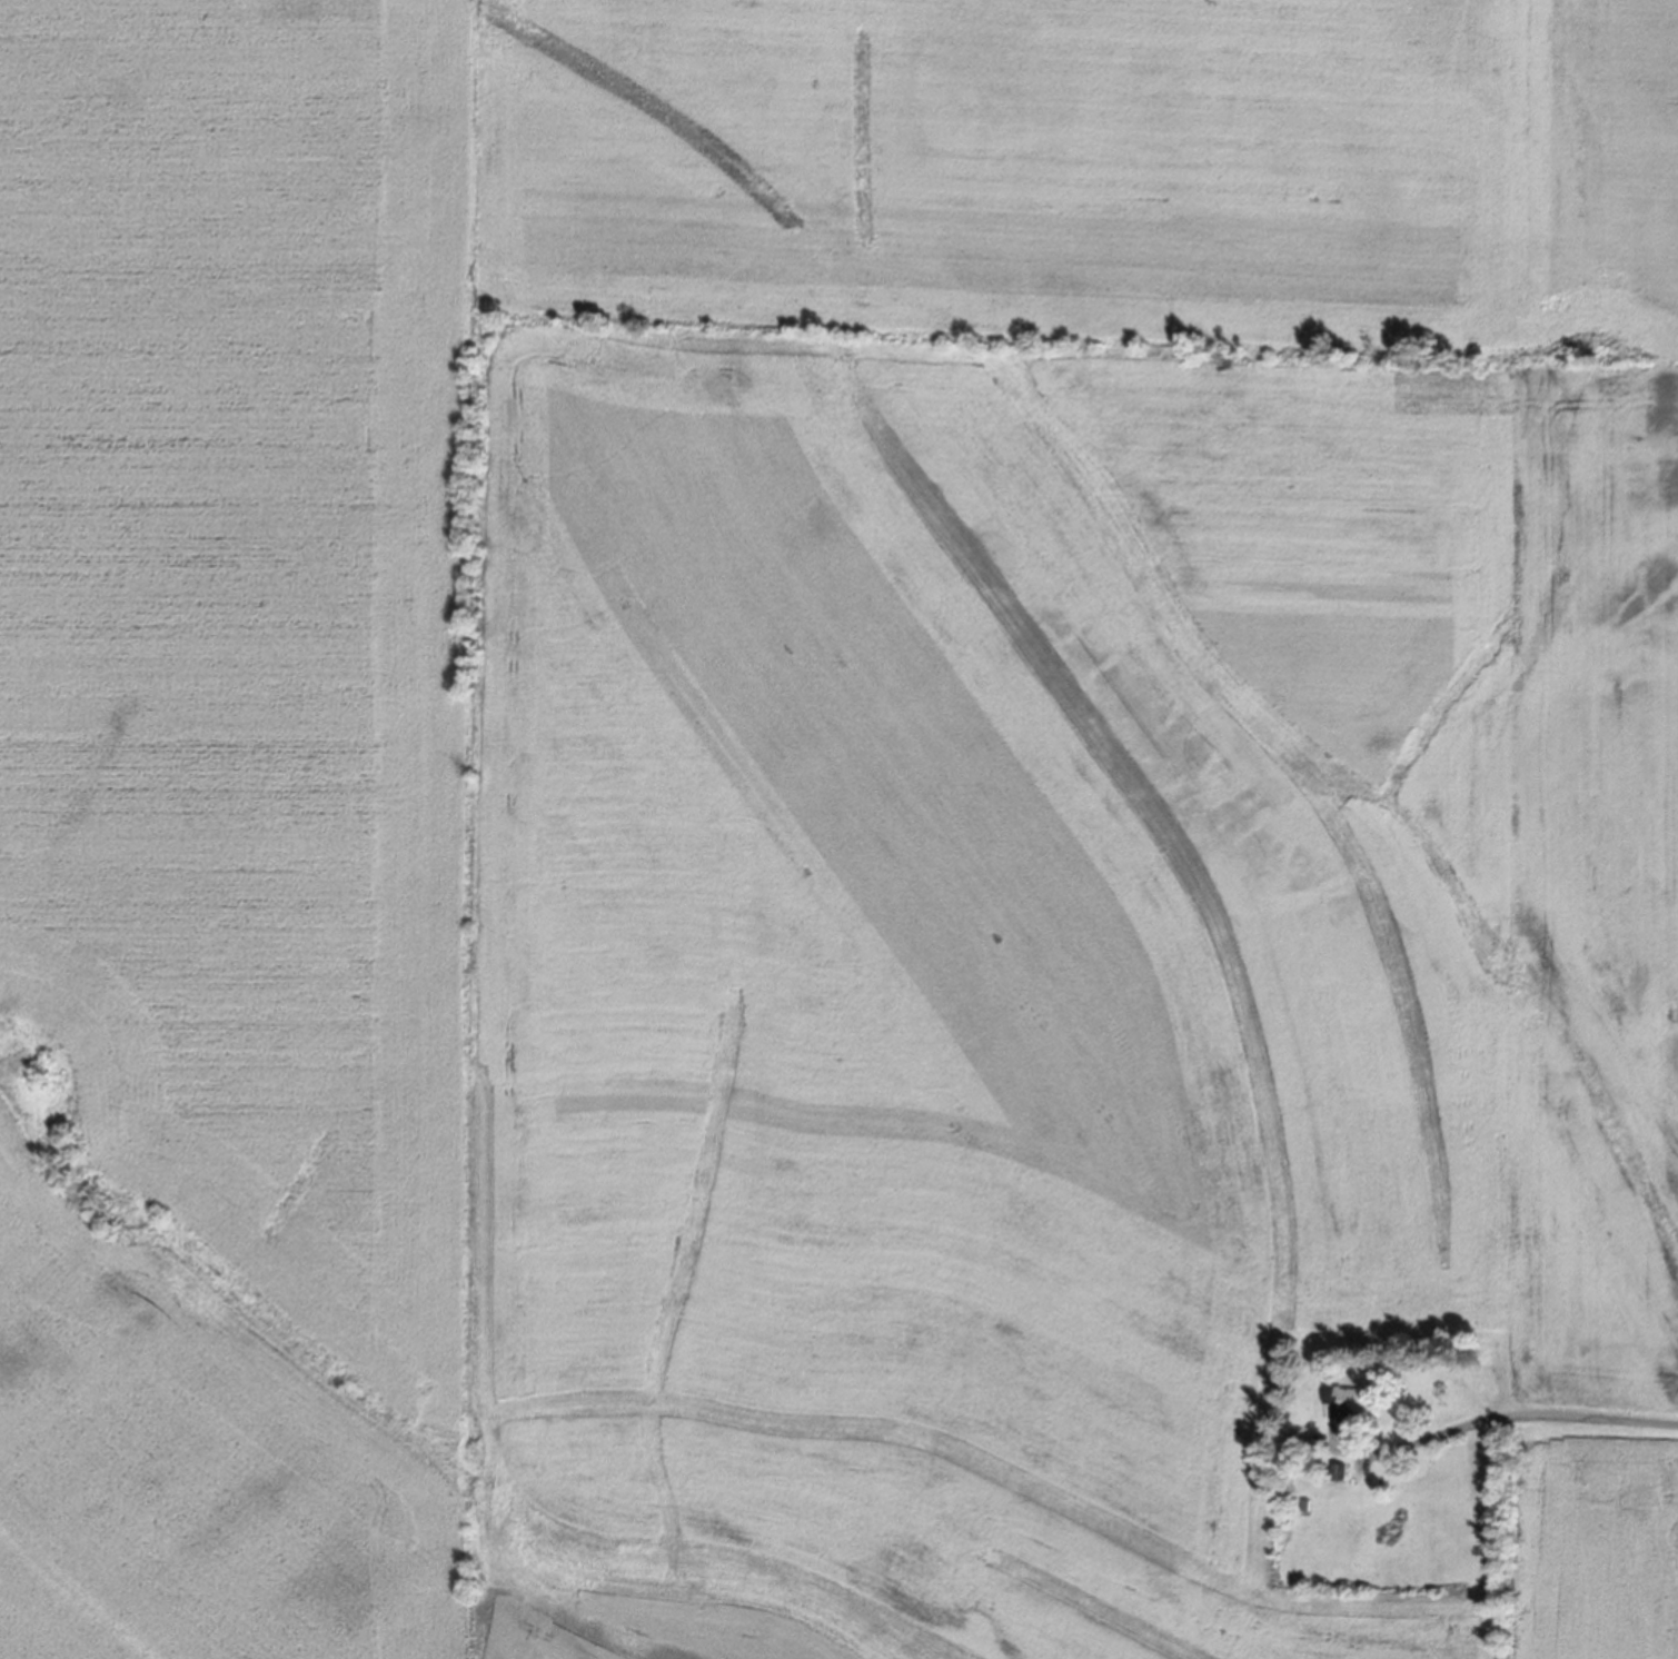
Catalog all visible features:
building: (1353, 1401)
road: (1513, 1418)

